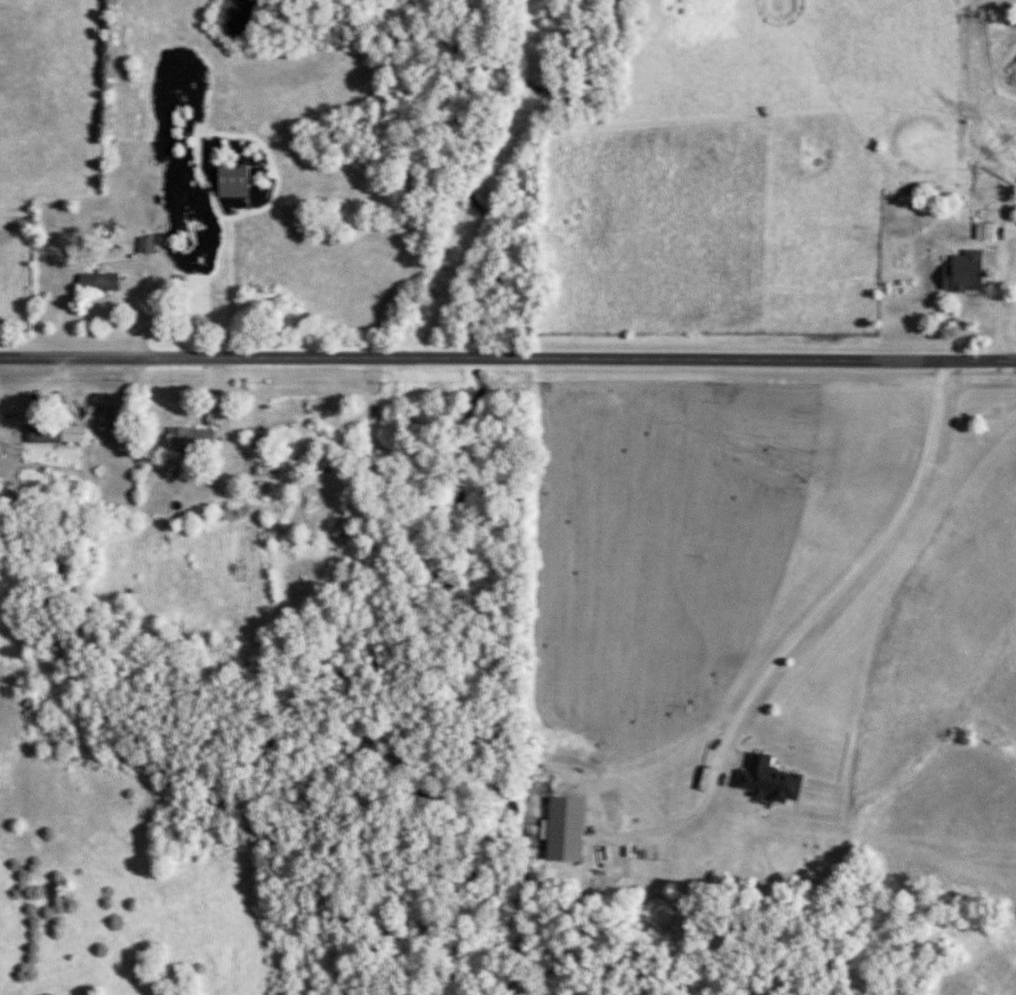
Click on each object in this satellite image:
building: (234, 182)
building: (984, 232)
building: (146, 245)
road: (178, 258)
building: (100, 282)
building: (970, 283)
road: (999, 305)
road: (508, 358)
building: (56, 434)
building: (193, 439)
road: (753, 688)
building: (769, 782)
building: (566, 829)

